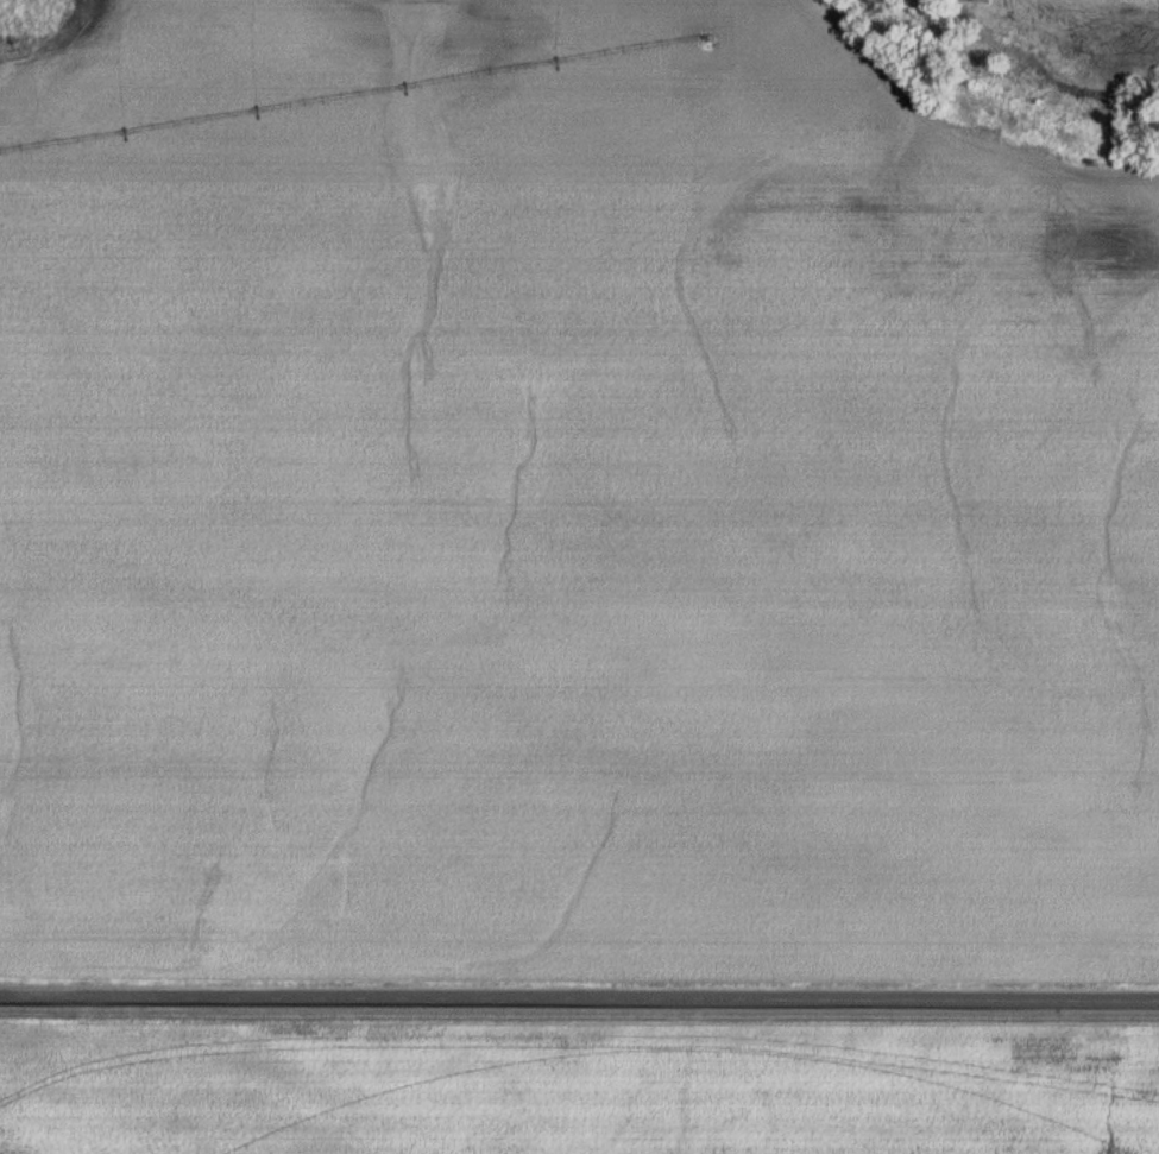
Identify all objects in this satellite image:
road: (579, 1003)

